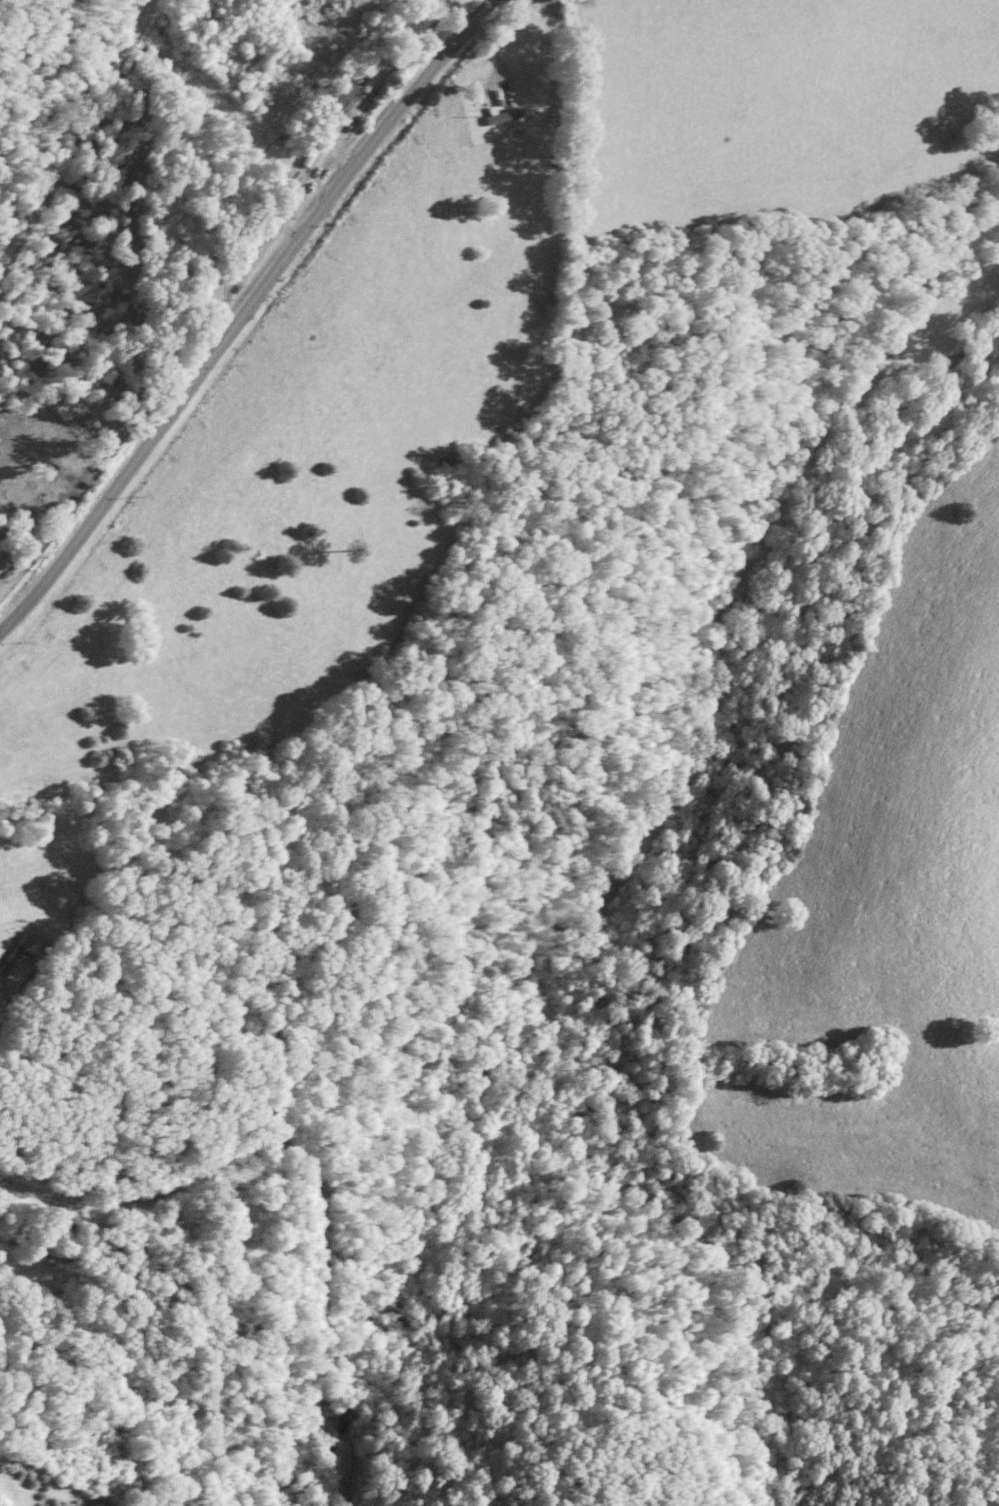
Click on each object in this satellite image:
building: (334, 95)
road: (79, 134)
road: (244, 312)
building: (10, 951)

